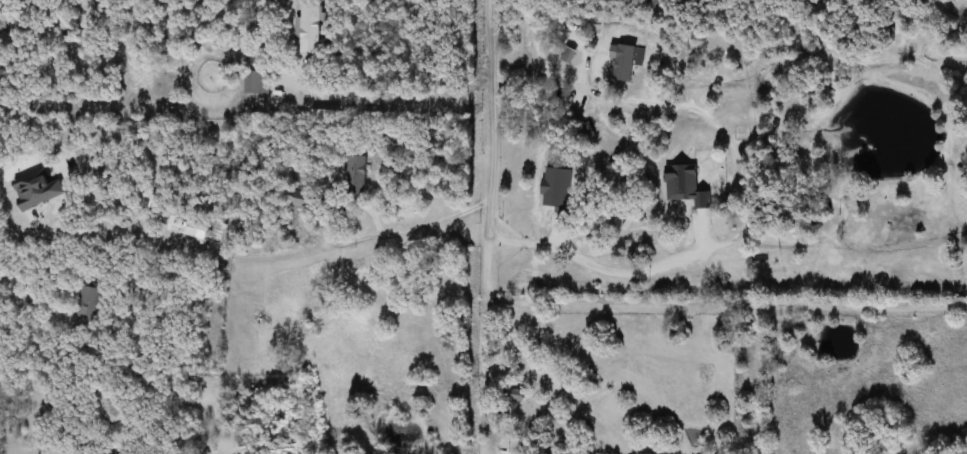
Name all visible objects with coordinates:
building: (310, 28)
building: (569, 54)
building: (258, 82)
road: (378, 103)
road: (482, 116)
building: (587, 130)
road: (72, 162)
building: (357, 174)
building: (686, 185)
building: (38, 188)
building: (304, 198)
road: (230, 219)
building: (196, 229)
road: (409, 233)
road: (588, 258)
building: (361, 266)
road: (475, 290)
building: (89, 303)
building: (57, 316)
building: (111, 407)

